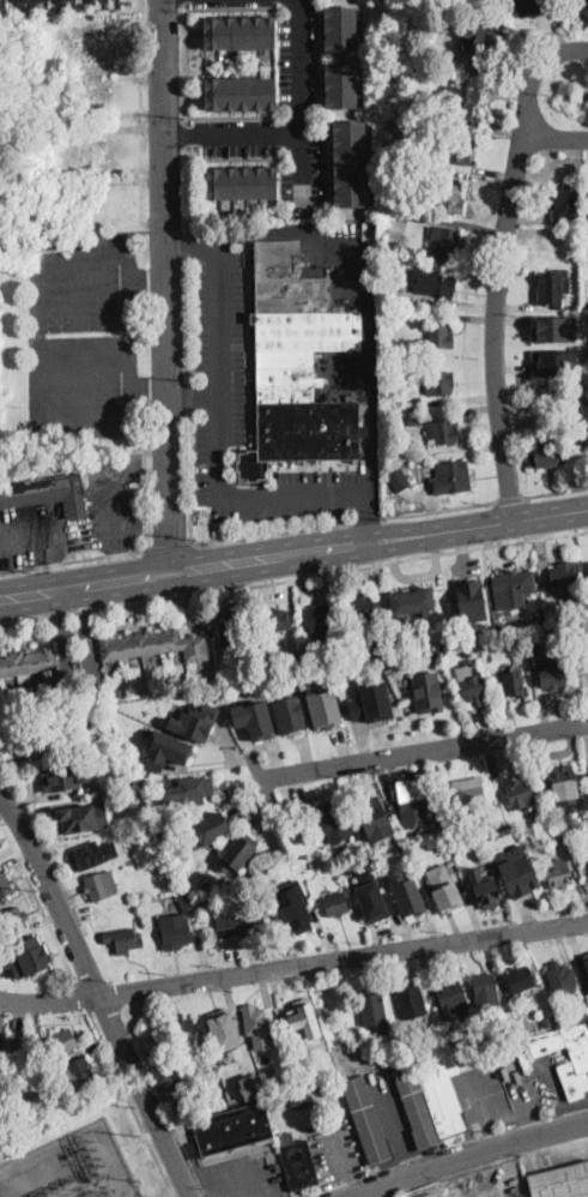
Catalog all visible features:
building: (29, 0)
building: (107, 0)
road: (186, 0)
building: (62, 1)
building: (93, 1)
building: (582, 1)
building: (1, 2)
parking lot: (234, 2)
road: (141, 6)
building: (532, 6)
building: (339, 26)
building: (238, 31)
building: (481, 48)
road: (186, 61)
parking lot: (297, 62)
building: (390, 73)
road: (533, 74)
building: (340, 84)
building: (240, 92)
park: (571, 95)
road: (299, 97)
building: (465, 103)
road: (187, 133)
building: (424, 134)
road: (556, 138)
road: (232, 139)
building: (459, 150)
building: (350, 162)
building: (242, 182)
road: (188, 188)
building: (417, 192)
building: (450, 199)
building: (565, 204)
building: (398, 218)
building: (572, 234)
road: (192, 242)
building: (448, 242)
road: (187, 243)
building: (395, 243)
building: (434, 281)
road: (168, 287)
building: (550, 289)
building: (400, 299)
road: (364, 300)
road: (188, 318)
road: (491, 326)
building: (554, 327)
parking lot: (81, 332)
road: (41, 336)
building: (438, 336)
building: (295, 362)
building: (554, 362)
building: (440, 384)
road: (189, 393)
road: (193, 393)
building: (414, 404)
parking lot: (243, 409)
building: (586, 415)
building: (414, 420)
building: (442, 432)
road: (219, 435)
building: (392, 452)
building: (550, 453)
road: (190, 474)
building: (450, 477)
building: (399, 479)
building: (47, 492)
road: (557, 493)
road: (334, 495)
road: (513, 499)
road: (441, 510)
road: (366, 517)
road: (514, 517)
road: (368, 519)
road: (345, 522)
road: (497, 523)
road: (263, 533)
road: (169, 545)
road: (73, 559)
building: (587, 560)
road: (202, 569)
road: (293, 576)
building: (565, 581)
building: (514, 587)
building: (471, 598)
building: (414, 601)
building: (363, 607)
building: (319, 618)
building: (277, 620)
road: (139, 625)
building: (511, 627)
building: (232, 631)
building: (514, 640)
building: (396, 644)
building: (154, 645)
building: (371, 648)
building: (443, 650)
building: (319, 655)
building: (295, 656)
building: (28, 662)
building: (386, 664)
building: (551, 669)
building: (584, 669)
building: (26, 678)
building: (514, 682)
building: (472, 686)
building: (95, 690)
building: (426, 691)
building: (123, 692)
building: (254, 692)
building: (371, 702)
building: (323, 708)
building: (289, 711)
building: (253, 717)
building: (195, 720)
building: (81, 724)
building: (36, 738)
building: (69, 742)
building: (166, 750)
road: (430, 750)
building: (99, 769)
building: (66, 776)
building: (564, 778)
building: (126, 782)
building: (145, 782)
building: (193, 788)
building: (520, 794)
building: (471, 798)
building: (410, 800)
building: (578, 808)
building: (565, 814)
building: (81, 817)
building: (374, 817)
building: (145, 818)
building: (334, 820)
building: (485, 820)
building: (545, 822)
building: (578, 825)
building: (208, 829)
building: (550, 835)
building: (493, 836)
building: (569, 838)
building: (172, 841)
building: (457, 842)
building: (0, 844)
building: (0, 852)
building: (159, 852)
building: (238, 852)
building: (402, 854)
building: (91, 855)
building: (419, 856)
building: (517, 868)
building: (343, 871)
building: (559, 873)
building: (442, 882)
building: (205, 884)
building: (102, 885)
building: (5, 886)
building: (407, 894)
building: (487, 894)
building: (370, 896)
building: (171, 897)
building: (187, 900)
building: (202, 900)
road: (40, 903)
building: (337, 904)
building: (295, 906)
building: (14, 922)
building: (240, 925)
building: (174, 930)
building: (122, 939)
building: (25, 956)
building: (586, 961)
road: (293, 967)
building: (587, 974)
building: (520, 979)
building: (560, 980)
building: (485, 988)
road: (98, 994)
building: (450, 997)
road: (81, 998)
building: (411, 999)
building: (372, 1007)
building: (582, 1015)
building: (304, 1018)
building: (548, 1022)
building: (256, 1025)
building: (223, 1028)
building: (184, 1031)
building: (504, 1031)
building: (473, 1039)
building: (61, 1042)
building: (23, 1059)
building: (576, 1064)
building: (250, 1069)
building: (271, 1071)
building: (78, 1073)
building: (165, 1073)
building: (327, 1073)
building: (310, 1078)
building: (250, 1085)
building: (445, 1087)
road: (132, 1102)
building: (193, 1106)
building: (368, 1120)
road: (396, 1127)
building: (234, 1129)
road: (473, 1156)
road: (344, 1161)
building: (298, 1163)
building: (560, 1181)

